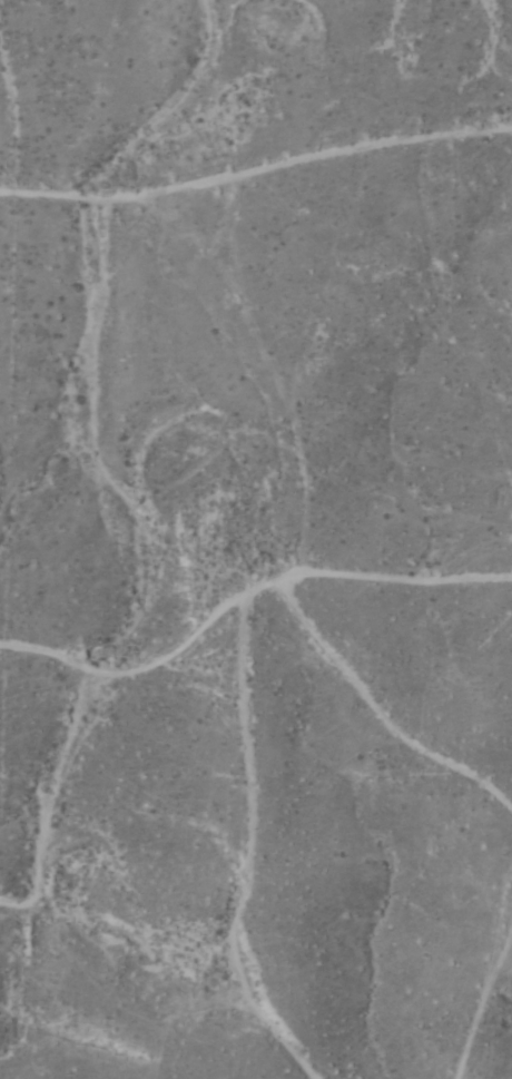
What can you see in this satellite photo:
road: (258, 203)
road: (256, 615)

